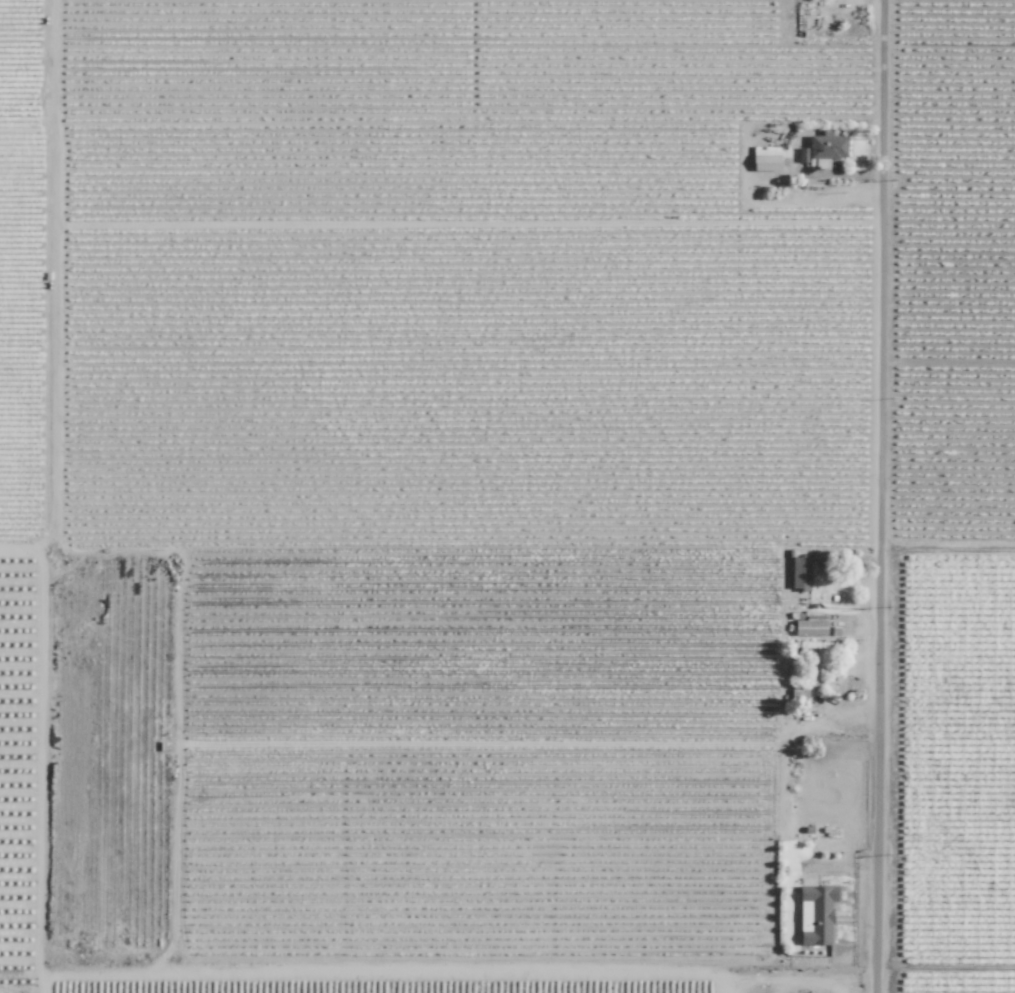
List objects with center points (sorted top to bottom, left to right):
building: (827, 147)
building: (802, 155)
building: (766, 159)
road: (883, 496)
building: (800, 574)
road: (785, 582)
building: (811, 626)
road: (855, 705)
building: (816, 914)
road: (721, 988)

